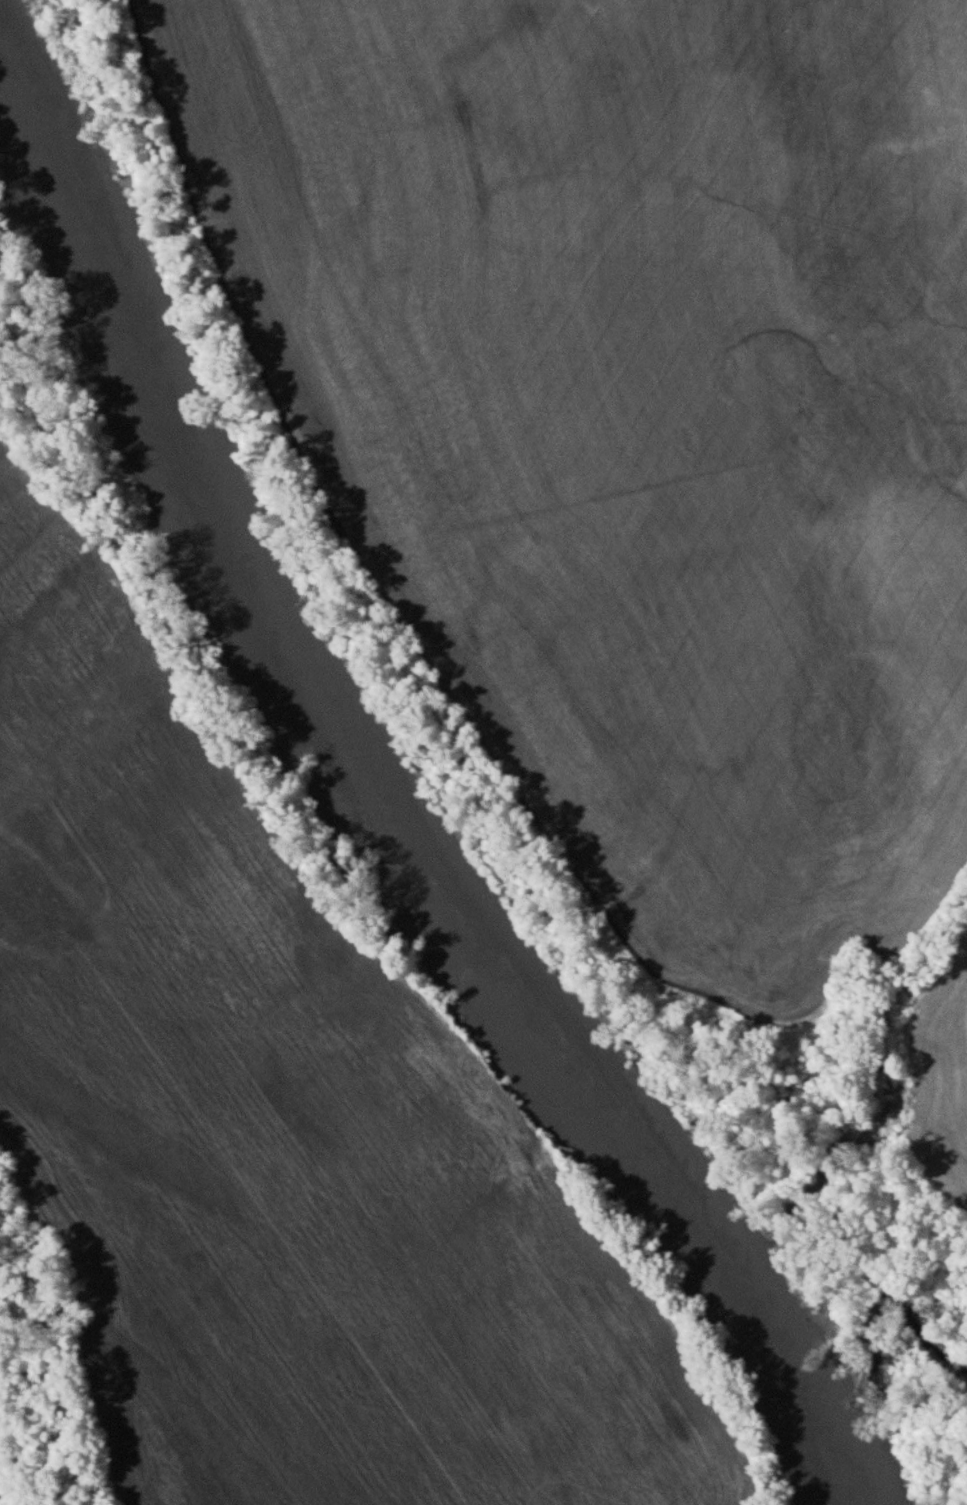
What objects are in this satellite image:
river: (380, 809)

